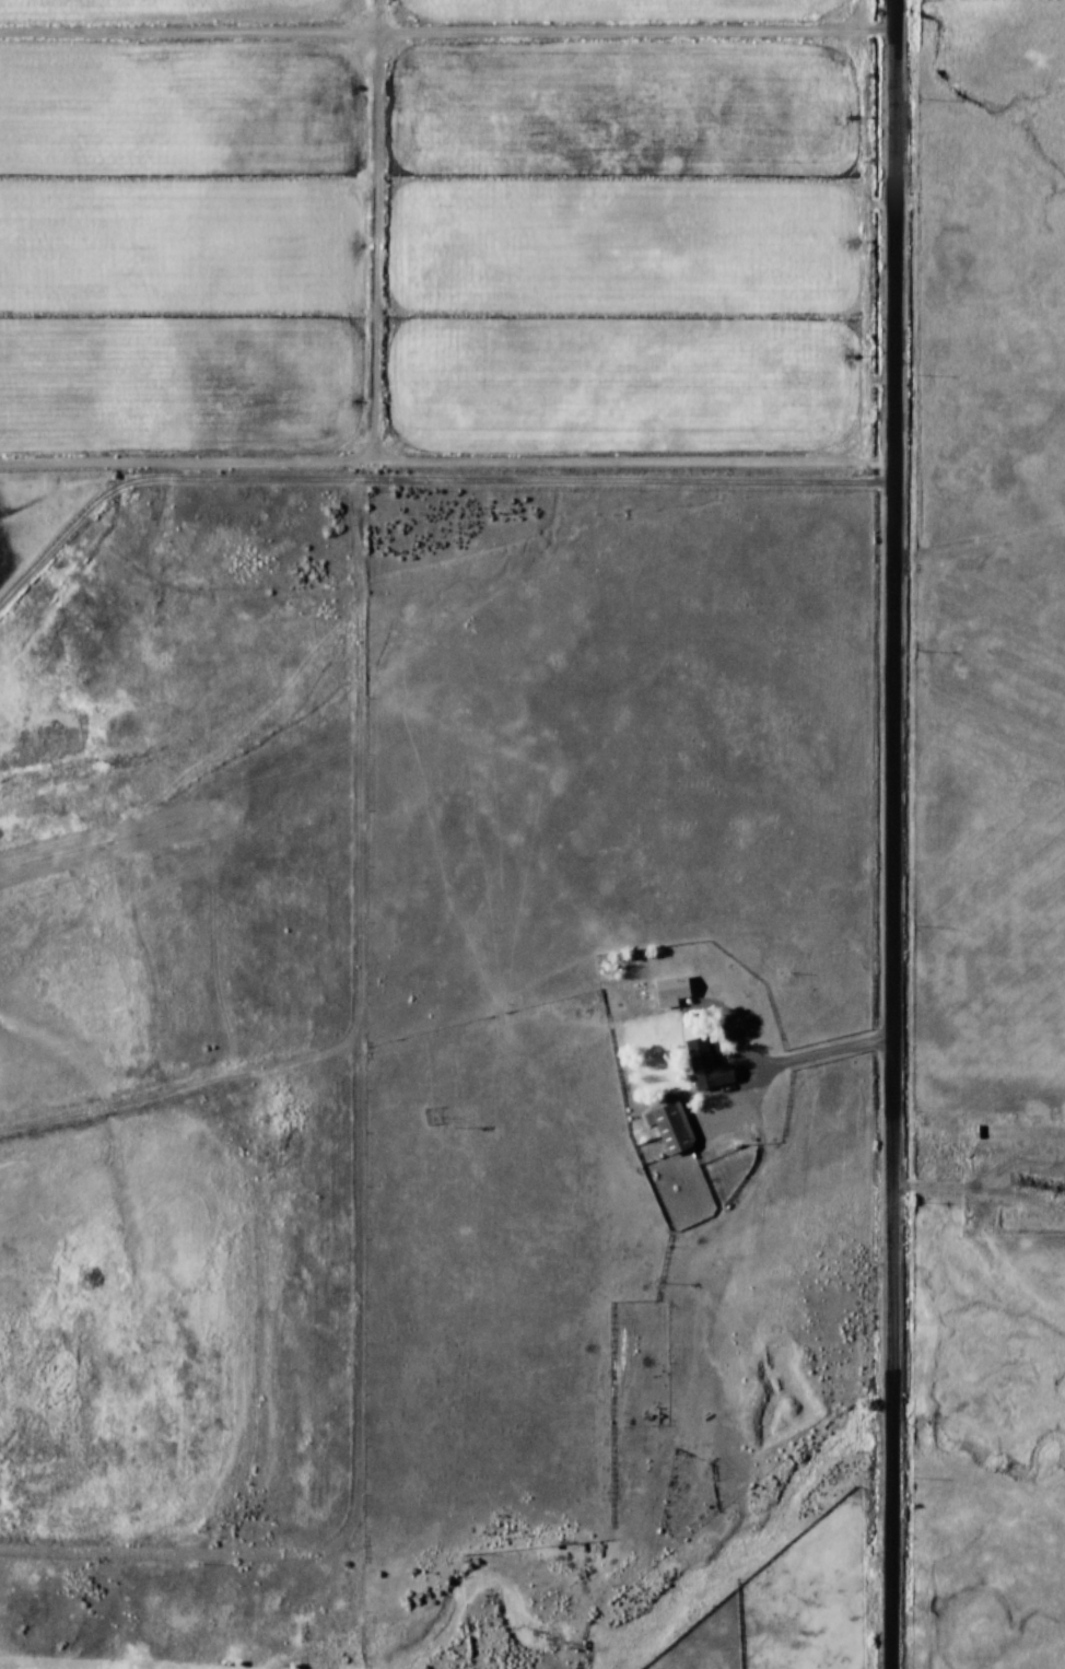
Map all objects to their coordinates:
road: (901, 271)
building: (668, 992)
building: (703, 1066)
road: (899, 1106)
building: (668, 1127)

